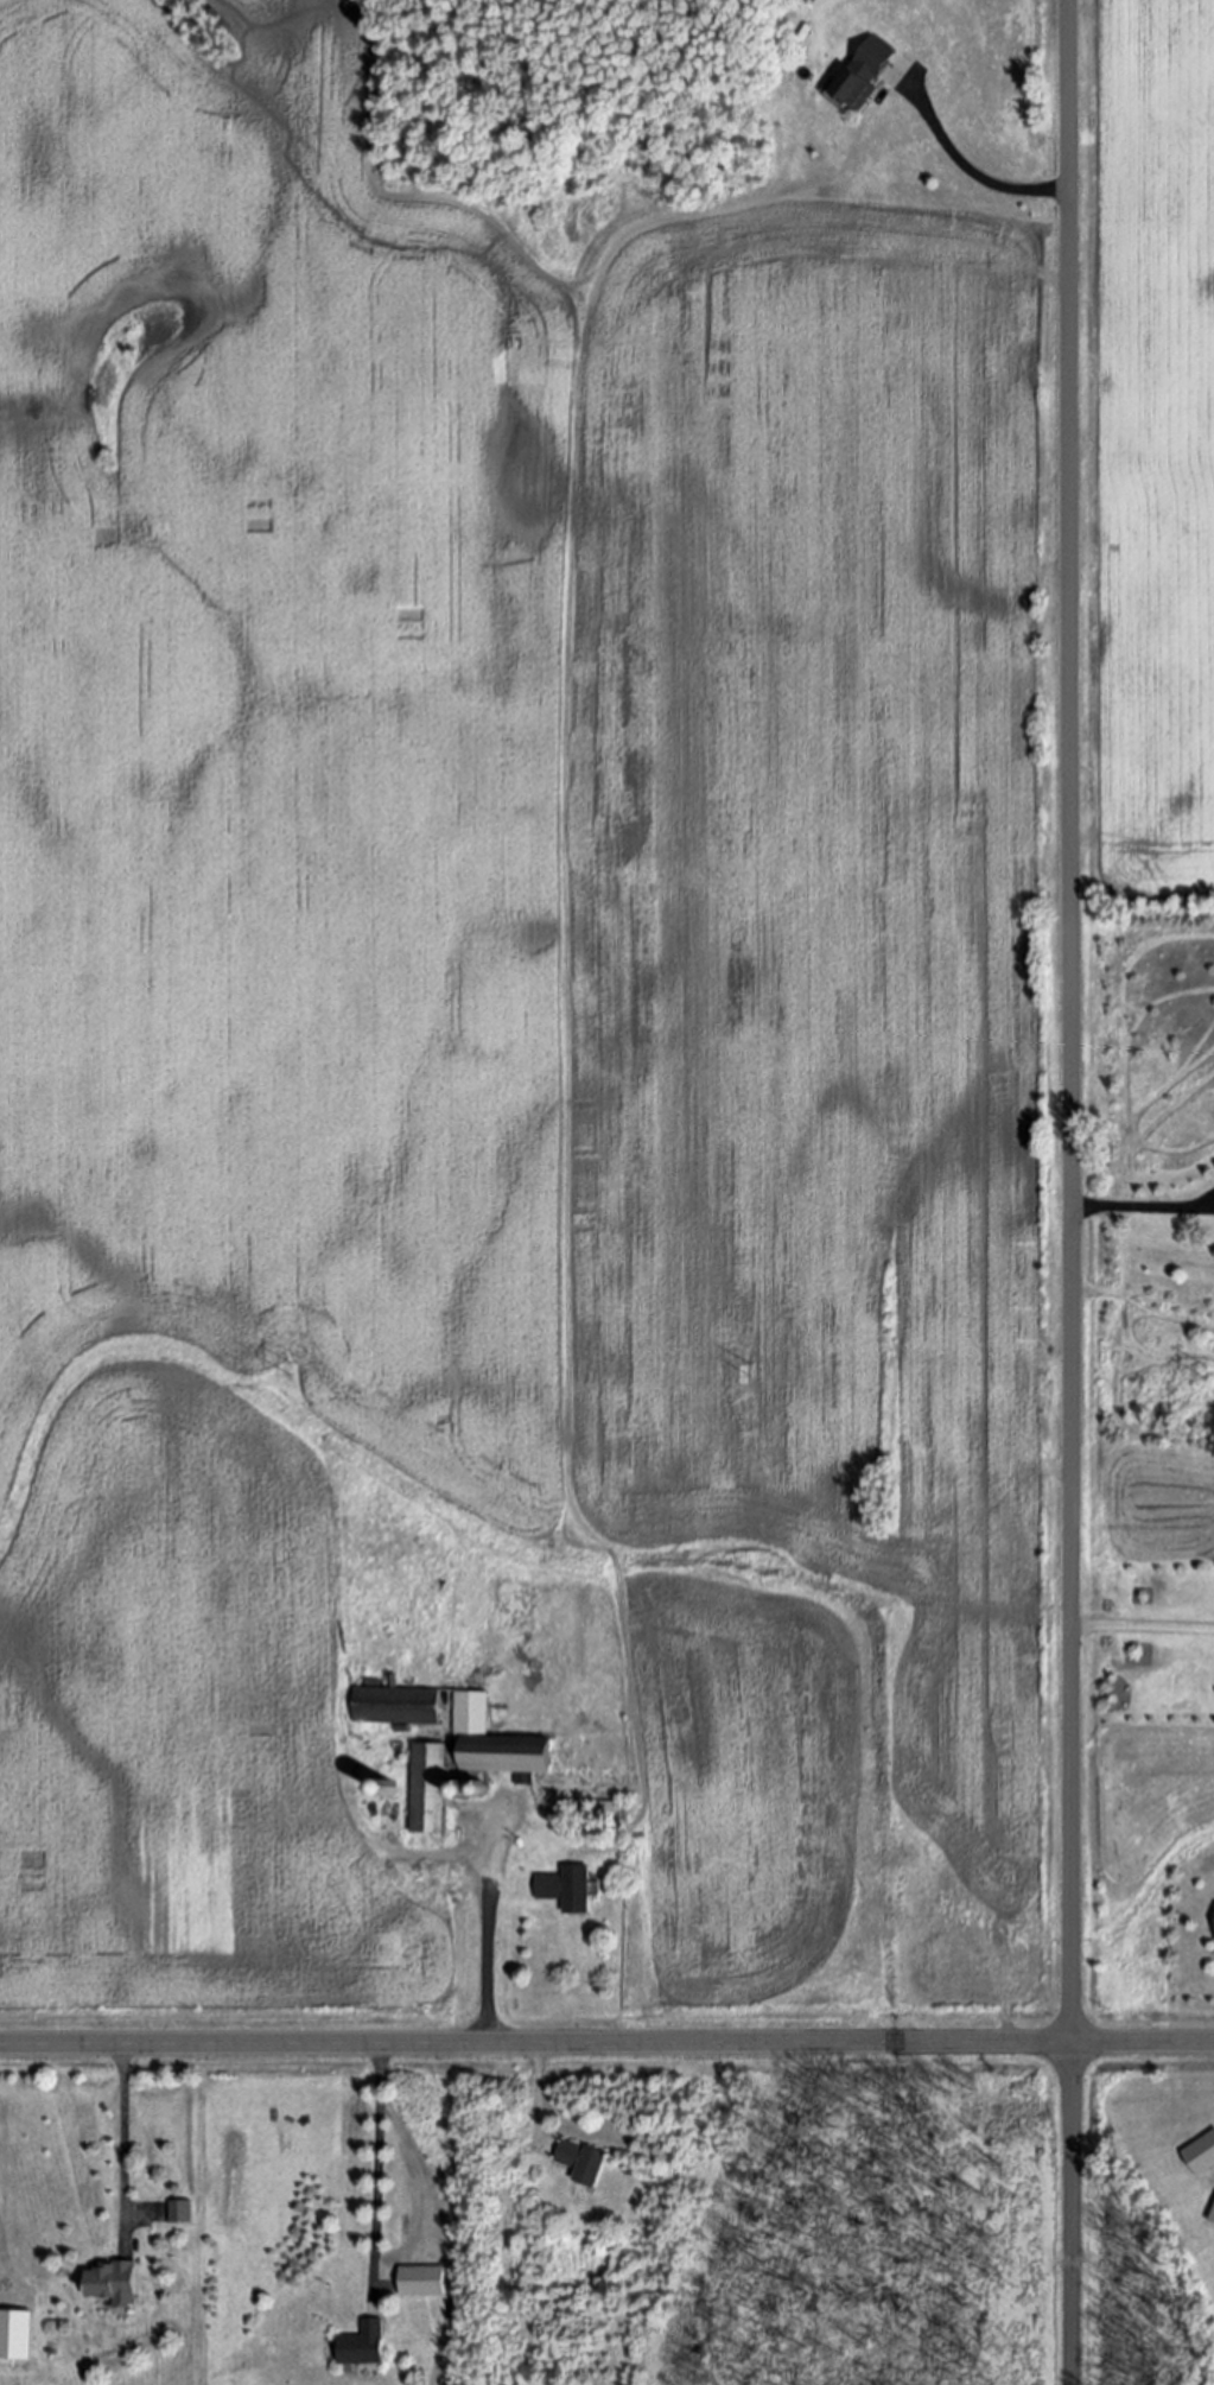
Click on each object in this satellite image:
building: (867, 77)
road: (971, 179)
crop: (1145, 455)
road: (560, 810)
crop: (497, 977)
road: (1069, 1192)
road: (1143, 1206)
power tower: (293, 1371)
power tower: (755, 1371)
power tower: (1207, 1372)
road: (1143, 1628)
building: (394, 1706)
building: (465, 1761)
crop: (737, 1796)
building: (565, 1890)
road: (487, 1948)
road: (606, 2044)
road: (536, 2093)
road: (122, 2139)
building: (1202, 2154)
building: (580, 2164)
road: (376, 2165)
building: (178, 2213)
building: (1212, 2216)
building: (420, 2282)
building: (109, 2285)
building: (15, 2334)
building: (361, 2345)

